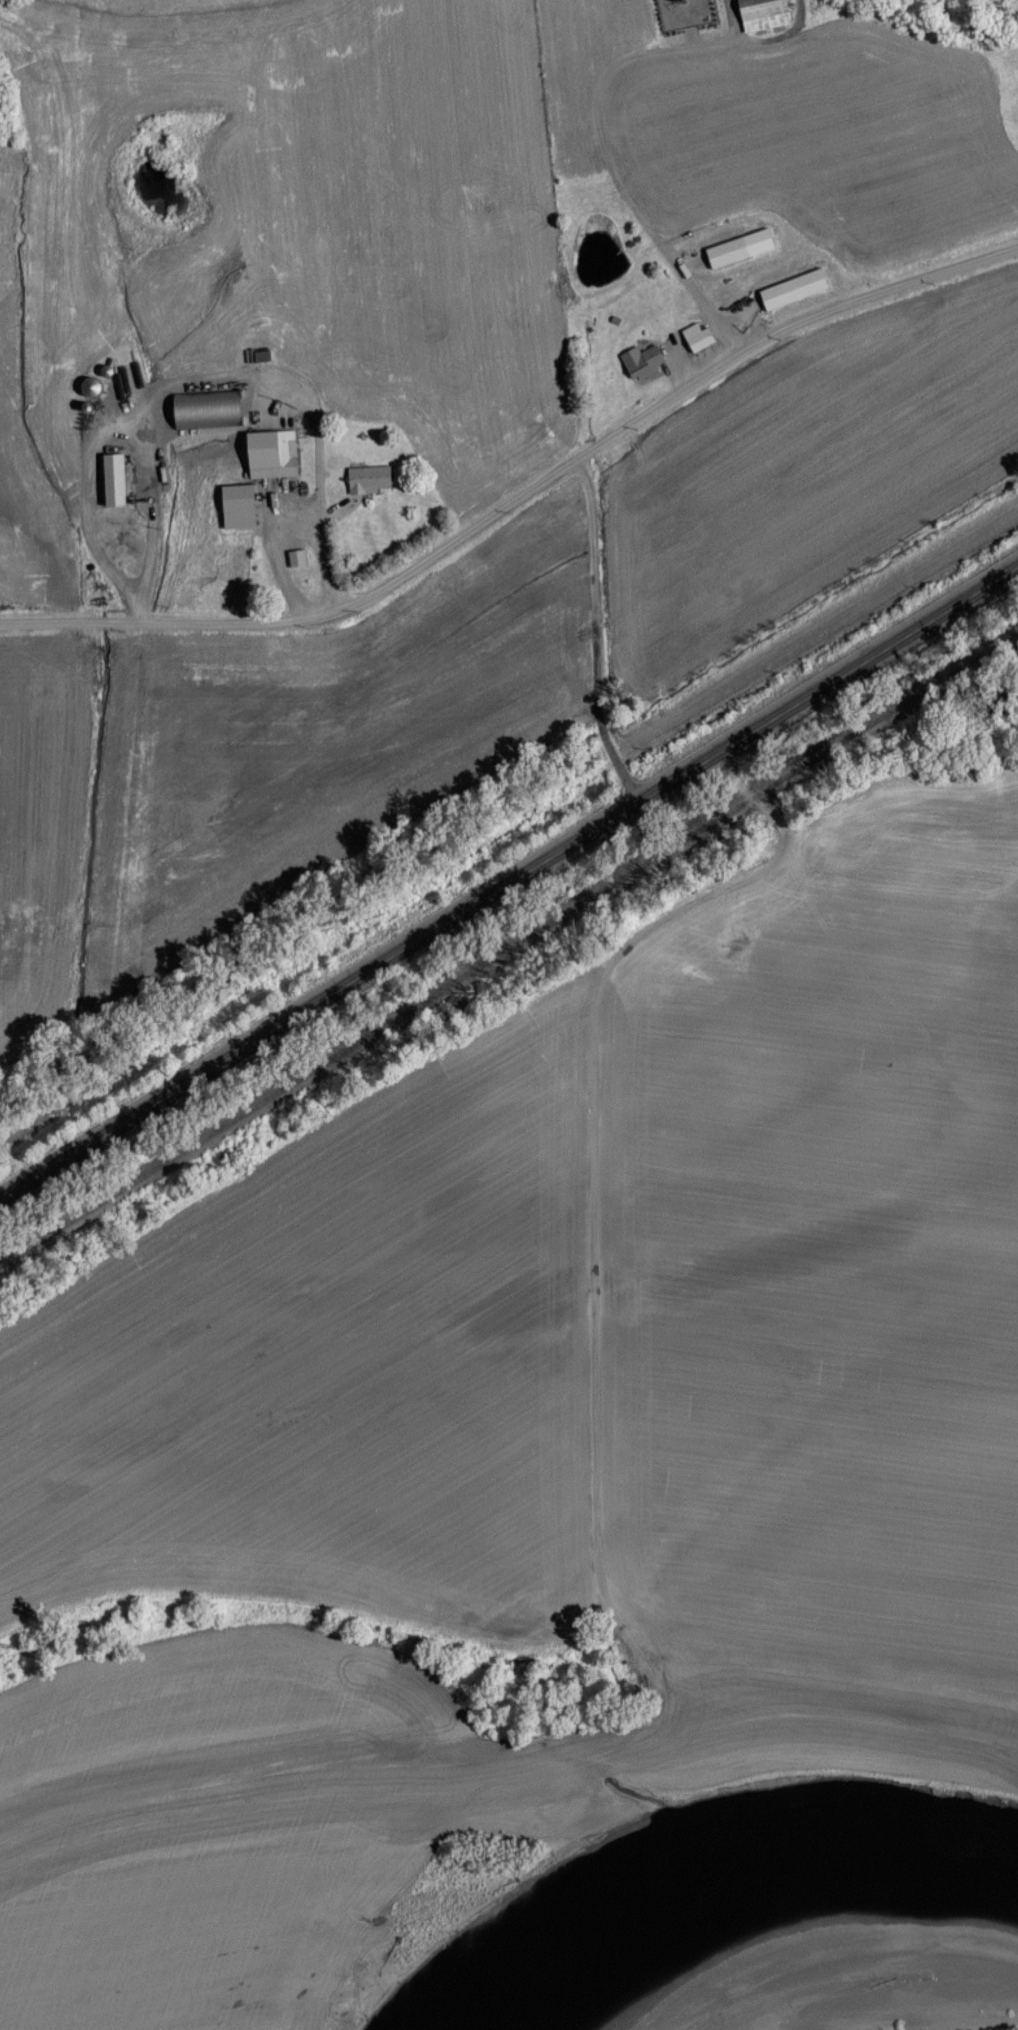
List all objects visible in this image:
building: (762, 13)
building: (726, 251)
building: (792, 288)
building: (696, 336)
building: (640, 361)
building: (89, 386)
building: (193, 408)
building: (270, 453)
building: (367, 478)
building: (112, 479)
road: (525, 494)
building: (236, 505)
building: (295, 557)
road: (509, 879)
railway: (509, 951)
river: (929, 1999)

